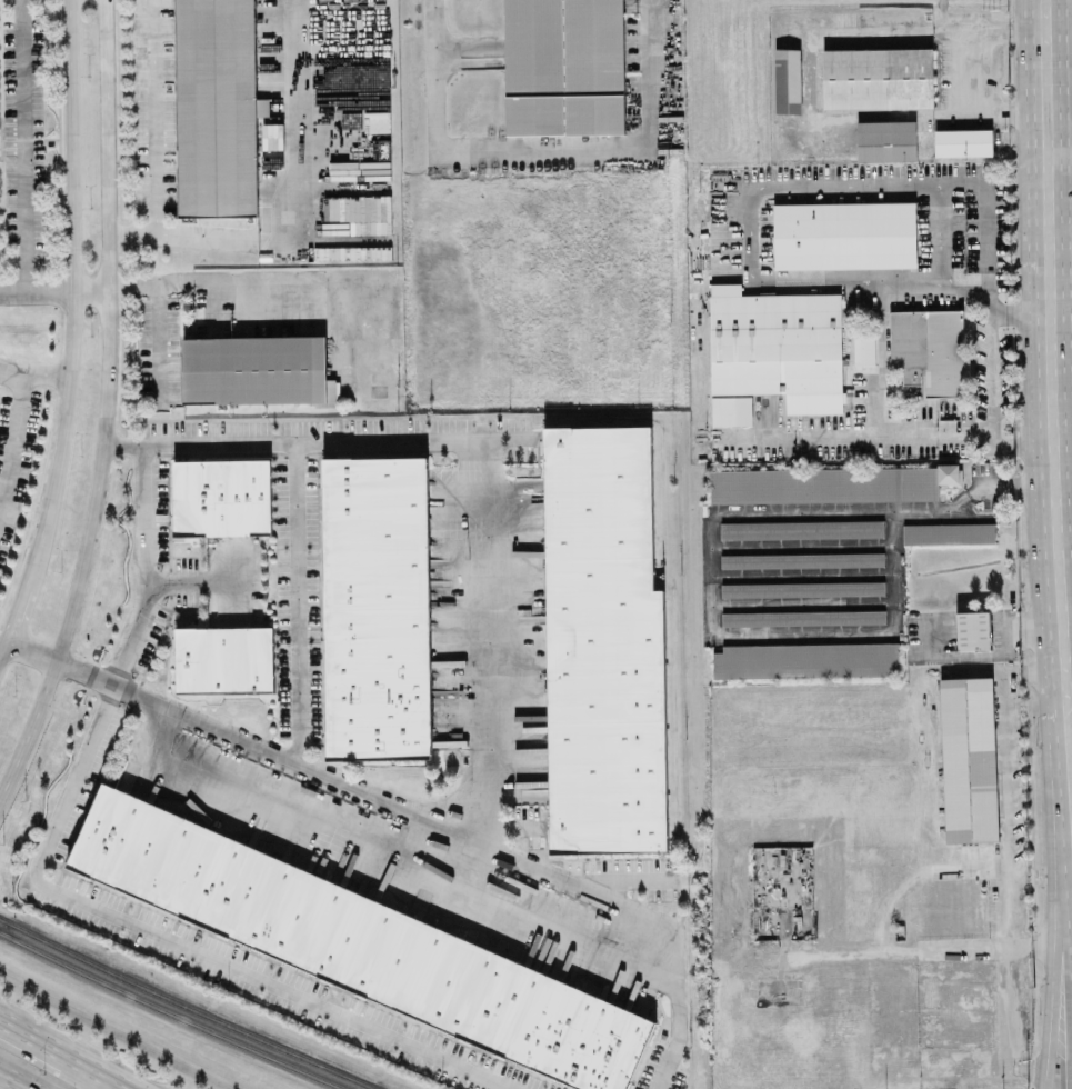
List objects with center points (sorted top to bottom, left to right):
road: (896, 38)
road: (962, 66)
building: (564, 67)
building: (878, 78)
building: (788, 80)
building: (217, 108)
road: (850, 116)
road: (152, 117)
building: (886, 140)
building: (963, 141)
road: (1059, 142)
road: (21, 146)
road: (1046, 154)
road: (541, 156)
road: (1060, 207)
road: (299, 216)
road: (750, 222)
building: (844, 234)
road: (233, 278)
road: (134, 281)
road: (91, 291)
road: (36, 292)
road: (72, 294)
road: (1020, 310)
road: (1060, 310)
road: (158, 340)
building: (778, 346)
building: (863, 348)
building: (929, 350)
road: (880, 364)
road: (11, 368)
building: (256, 369)
road: (47, 373)
road: (991, 377)
road: (1062, 393)
road: (108, 404)
road: (1062, 421)
road: (12, 437)
road: (320, 441)
road: (880, 443)
building: (830, 483)
road: (1054, 490)
building: (222, 497)
building: (801, 529)
building: (949, 532)
building: (802, 559)
road: (229, 580)
road: (188, 582)
building: (802, 588)
road: (295, 603)
building: (377, 608)
road: (16, 612)
building: (803, 617)
road: (1068, 622)
building: (973, 629)
road: (485, 643)
building: (603, 643)
road: (3, 650)
road: (31, 651)
building: (224, 659)
building: (806, 659)
road: (120, 670)
road: (1069, 687)
road: (1071, 705)
road: (1071, 715)
building: (969, 759)
road: (1003, 801)
road: (439, 827)
road: (313, 837)
road: (402, 841)
road: (451, 847)
road: (354, 852)
road: (1051, 917)
road: (1065, 931)
building: (360, 943)
road: (271, 986)
railway: (186, 1007)
railway: (170, 1013)
road: (34, 1037)
road: (99, 1072)
road: (11, 1082)

